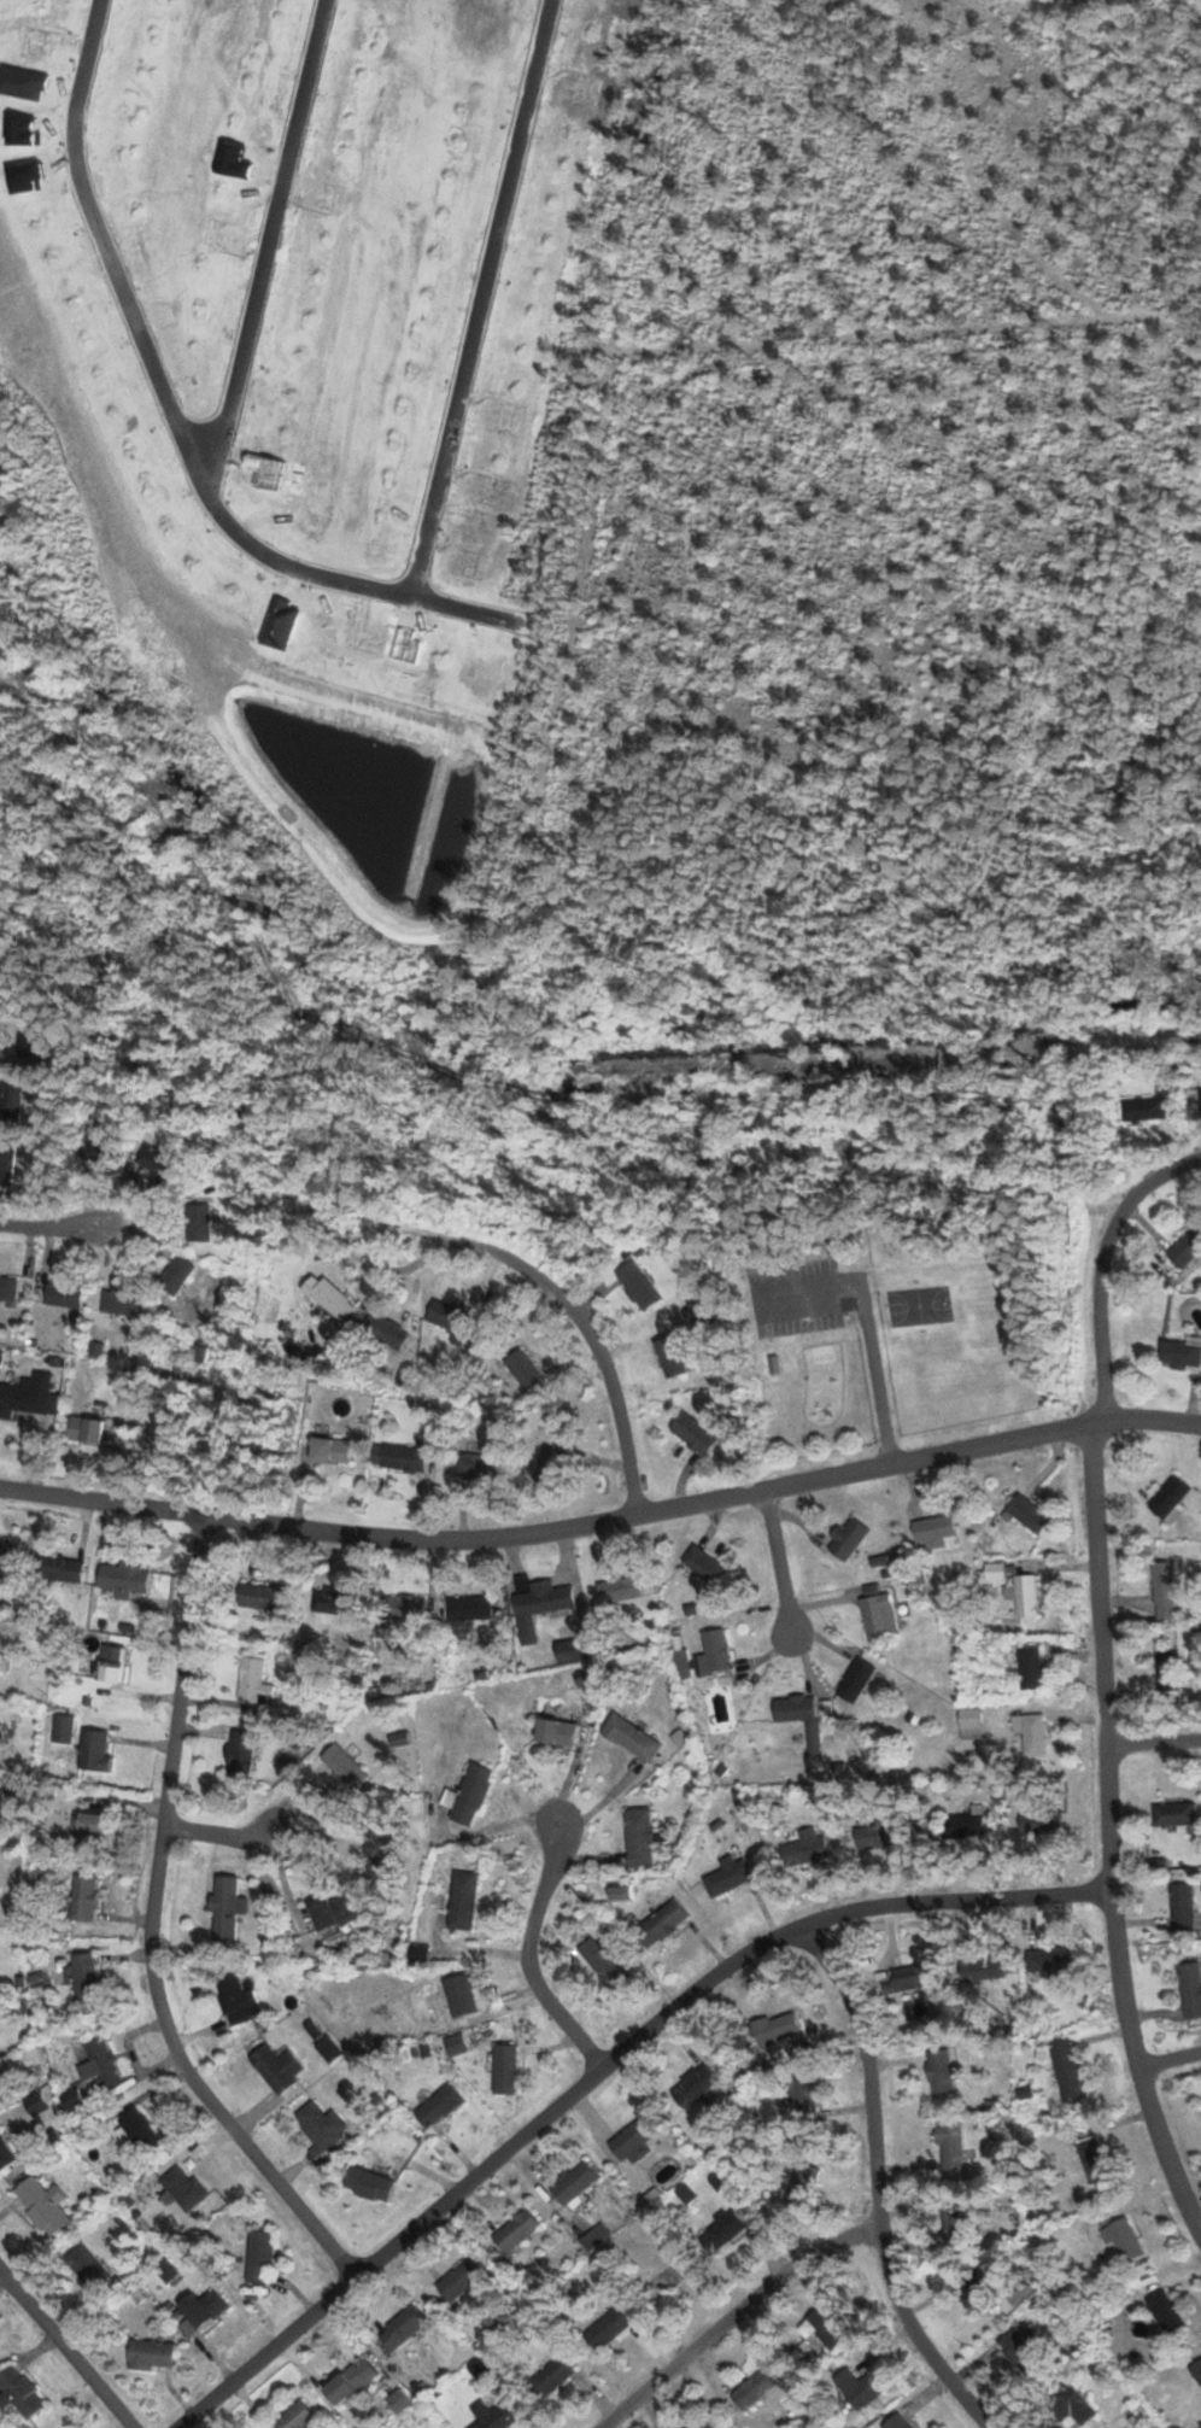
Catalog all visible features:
road: (266, 244)
building: (29, 1037)
building: (11, 1096)
building: (1200, 1099)
building: (1144, 1107)
building: (100, 1145)
building: (6, 1163)
building: (197, 1223)
road: (49, 1227)
park: (881, 1236)
building: (1187, 1247)
road: (1101, 1268)
building: (175, 1275)
building: (8, 1286)
building: (640, 1286)
building: (63, 1294)
building: (329, 1295)
building: (122, 1300)
building: (450, 1315)
road: (579, 1320)
park: (957, 1347)
building: (1182, 1351)
building: (672, 1356)
building: (523, 1368)
building: (28, 1394)
building: (84, 1429)
building: (693, 1432)
building: (332, 1450)
building: (403, 1456)
building: (474, 1464)
building: (549, 1464)
building: (1170, 1494)
building: (1027, 1513)
road: (603, 1522)
building: (935, 1531)
building: (849, 1538)
building: (4, 1556)
road: (778, 1558)
building: (703, 1564)
building: (59, 1567)
building: (995, 1569)
building: (123, 1578)
building: (620, 1589)
building: (1166, 1589)
building: (263, 1595)
building: (1025, 1596)
building: (334, 1602)
building: (539, 1605)
building: (406, 1607)
building: (470, 1608)
building: (879, 1613)
building: (1, 1646)
building: (573, 1650)
building: (714, 1650)
building: (111, 1665)
building: (1030, 1668)
building: (1170, 1669)
building: (856, 1679)
building: (254, 1681)
building: (797, 1710)
building: (969, 1718)
building: (64, 1728)
building: (556, 1731)
building: (1030, 1733)
building: (632, 1737)
road: (1152, 1742)
building: (94, 1749)
building: (241, 1754)
building: (469, 1795)
building: (1172, 1814)
building: (1039, 1823)
building: (961, 1825)
building: (87, 1830)
building: (879, 1832)
road: (219, 1836)
building: (639, 1837)
road: (1106, 1837)
building: (376, 1850)
building: (804, 1850)
building: (731, 1873)
building: (83, 1897)
building: (463, 1900)
building: (1183, 1905)
building: (227, 1907)
building: (322, 1912)
building: (663, 1923)
road: (148, 1927)
building: (418, 1952)
road: (527, 1956)
building: (1048, 1959)
building: (603, 1961)
building: (984, 1968)
building: (82, 1978)
building: (908, 1978)
building: (1190, 1989)
building: (461, 1994)
building: (238, 2000)
building: (772, 2026)
building: (456, 2043)
building: (329, 2048)
road: (1168, 2060)
building: (99, 2063)
building: (276, 2066)
building: (504, 2069)
road: (602, 2069)
building: (1066, 2069)
building: (939, 2072)
building: (692, 2084)
building: (798, 2093)
building: (437, 2106)
building: (321, 2126)
building: (139, 2129)
building: (633, 2140)
building: (951, 2145)
building: (5, 2154)
building: (1092, 2159)
building: (573, 2182)
building: (369, 2183)
building: (802, 2184)
road: (875, 2184)
building: (180, 2190)
building: (42, 2206)
building: (955, 2223)
building: (725, 2225)
building: (515, 2231)
building: (597, 2236)
building: (1125, 2239)
building: (258, 2258)
building: (84, 2269)
building: (458, 2280)
building: (977, 2286)
building: (199, 2309)
building: (1165, 2312)
road: (732, 2316)
building: (824, 2328)
building: (402, 2329)
building: (605, 2329)
road: (65, 2350)
building: (150, 2352)
building: (1020, 2352)
building: (1196, 2370)
building: (550, 2377)
building: (350, 2382)
building: (857, 2388)
building: (754, 2391)
building: (20, 2392)
building: (1066, 2410)
building: (496, 2415)
building: (299, 2416)
building: (896, 2422)
building: (701, 2424)

